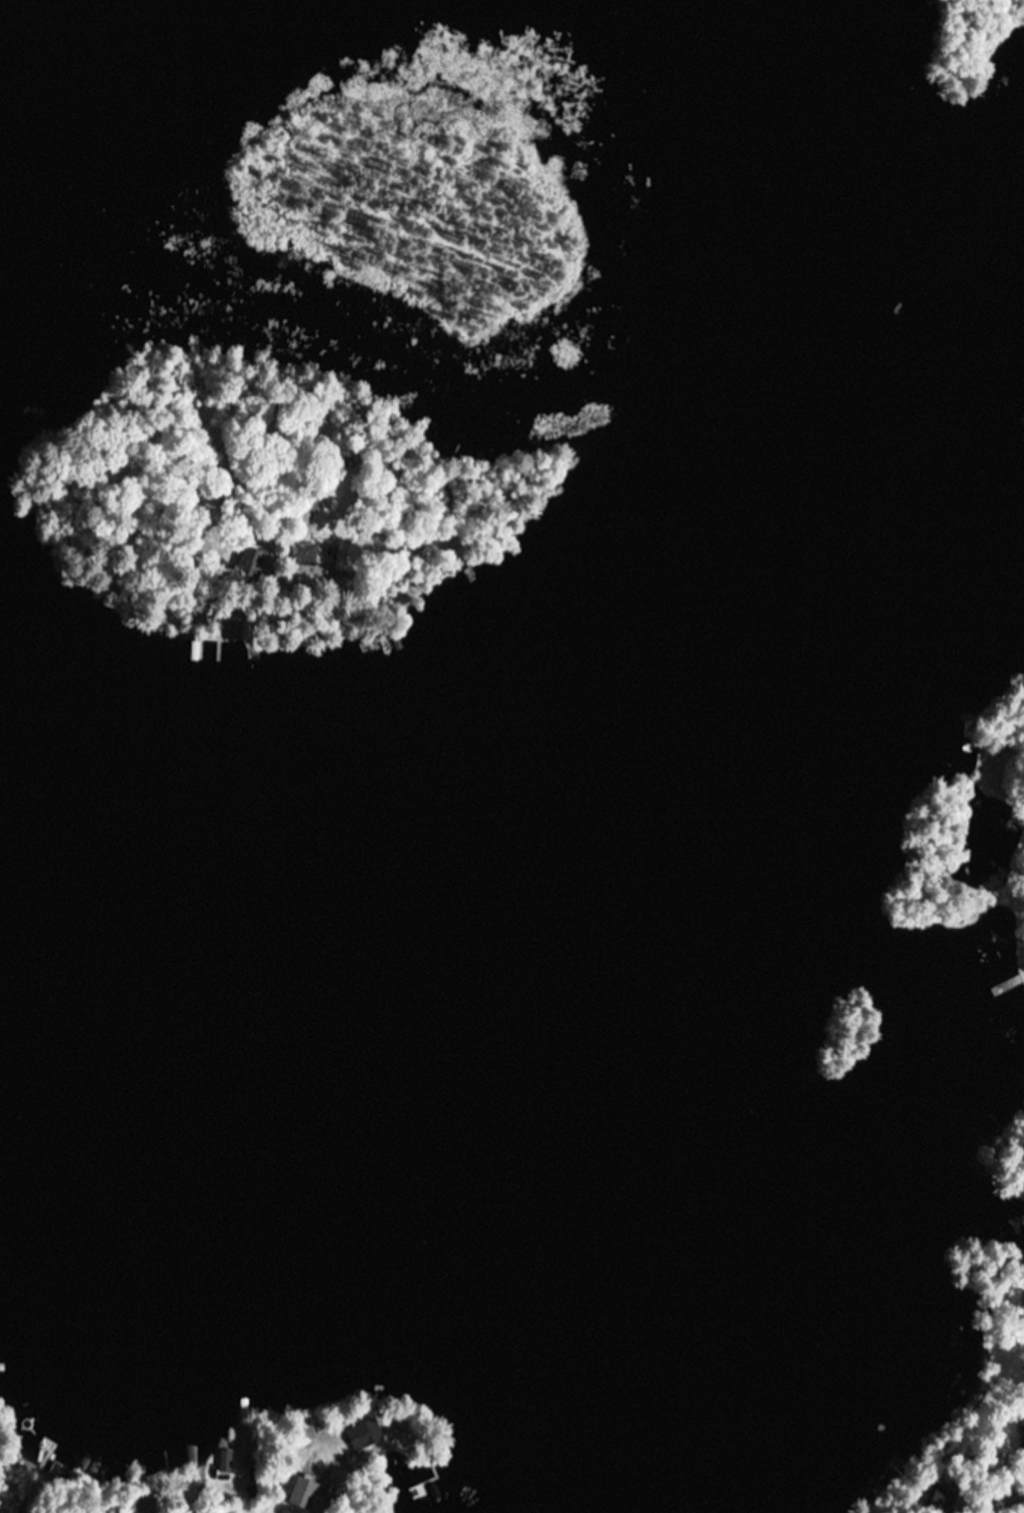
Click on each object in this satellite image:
building: (302, 555)
building: (347, 557)
building: (977, 1131)
river: (330, 1176)
building: (364, 1435)
building: (225, 1460)
building: (303, 1492)
building: (943, 1498)
road: (191, 1501)
building: (239, 1512)

